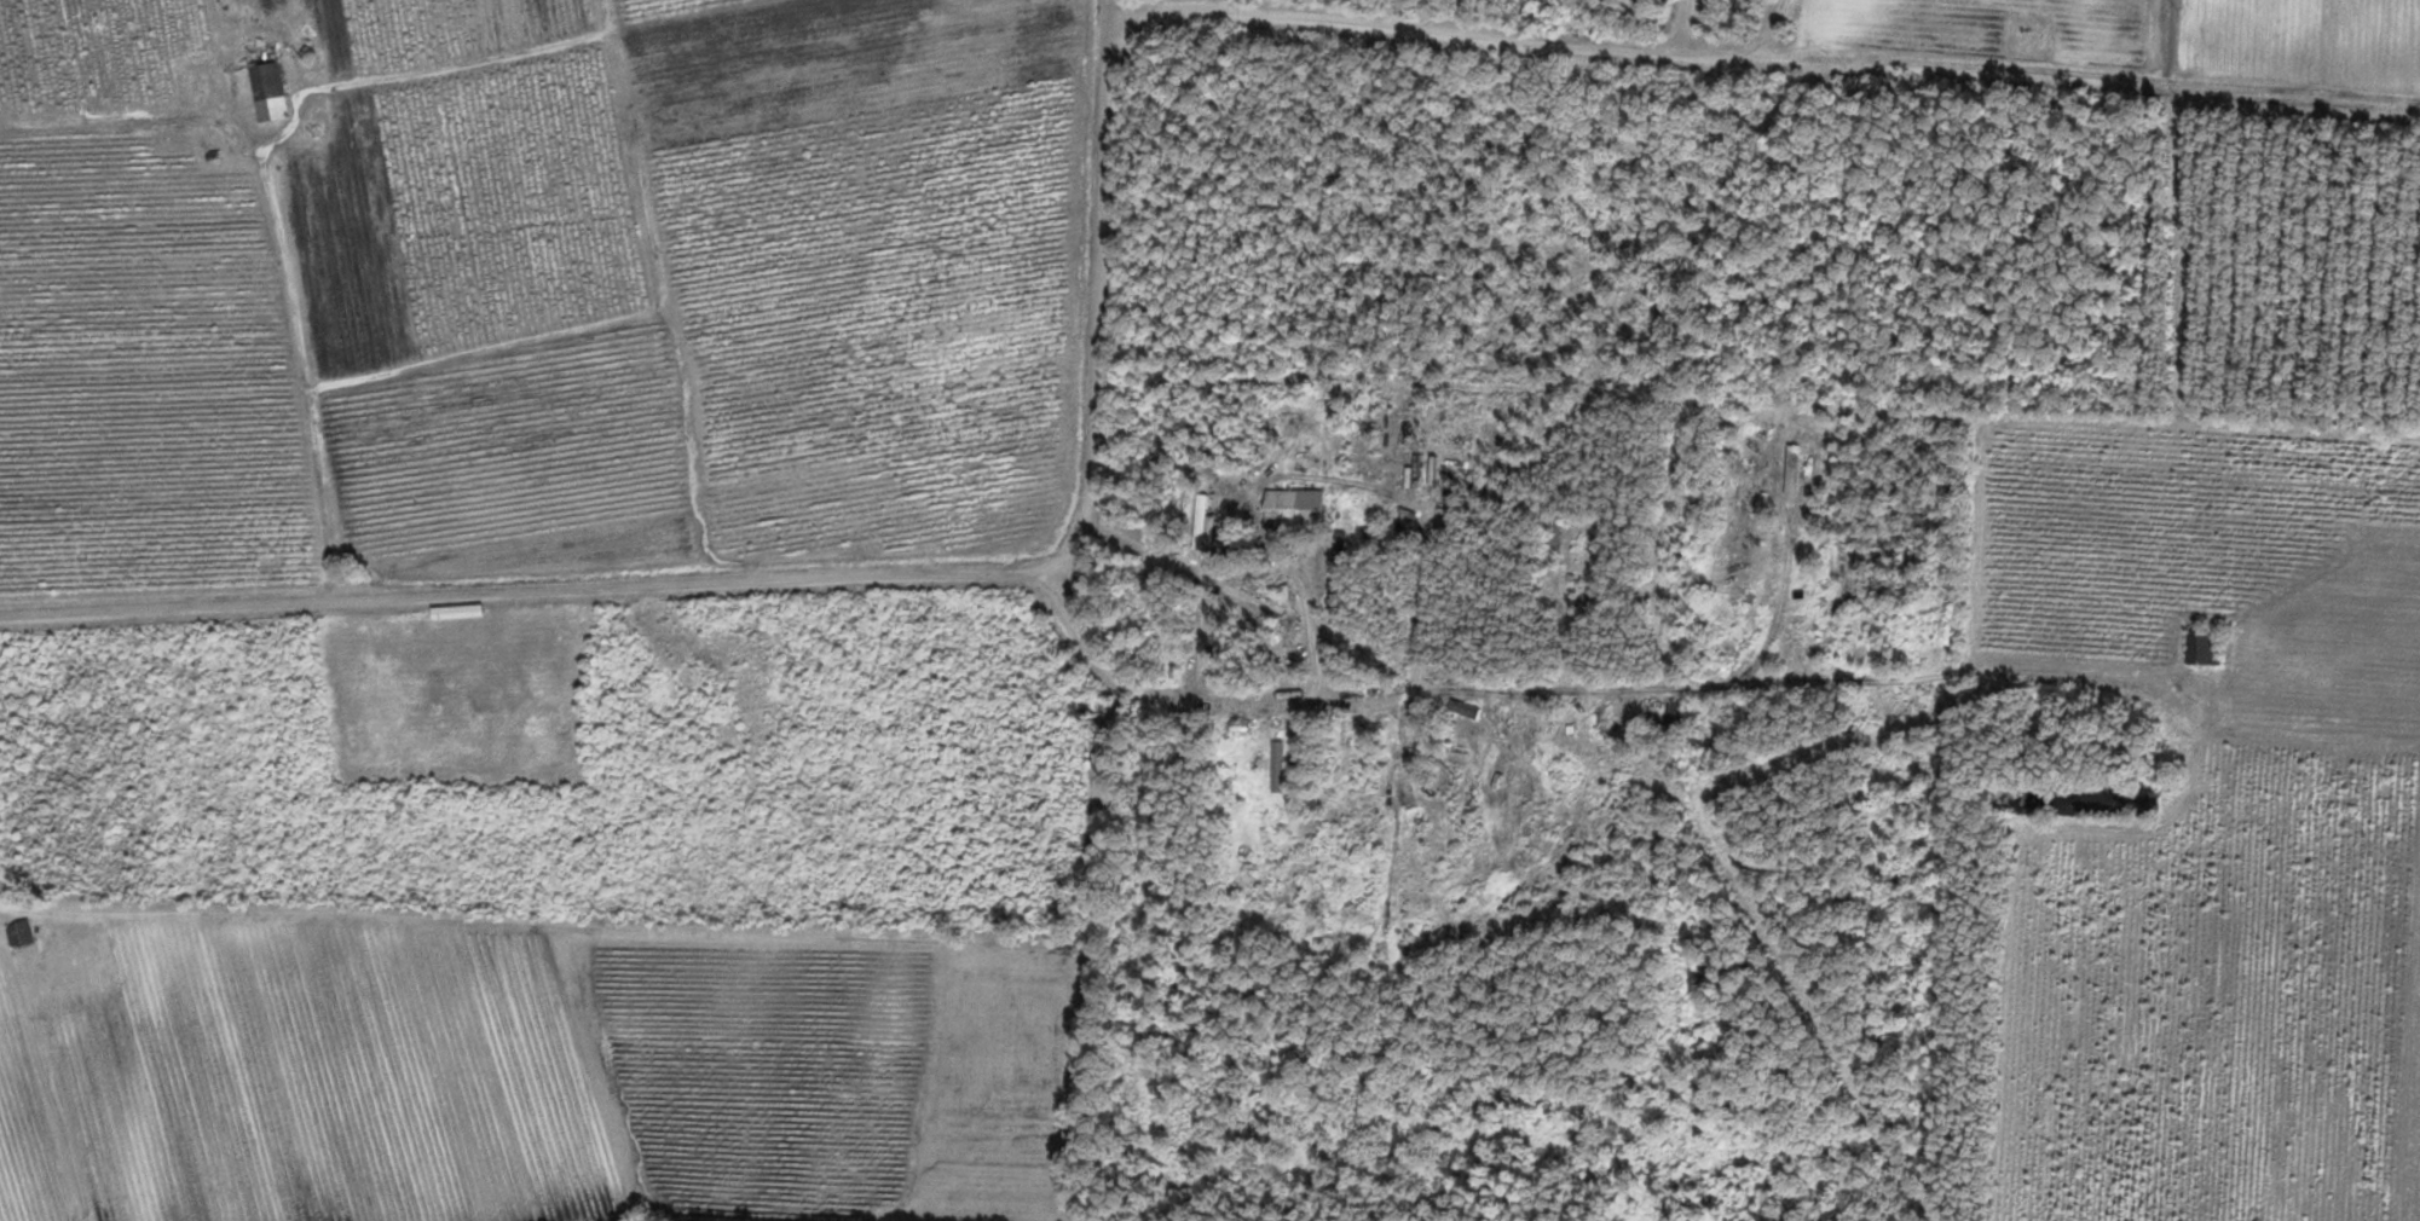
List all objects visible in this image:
building: (265, 81)
road: (311, 381)
building: (1292, 509)
building: (1549, 540)
road: (530, 591)
building: (2202, 644)
building: (1287, 647)
road: (1124, 684)
building: (1660, 713)
building: (18, 933)

